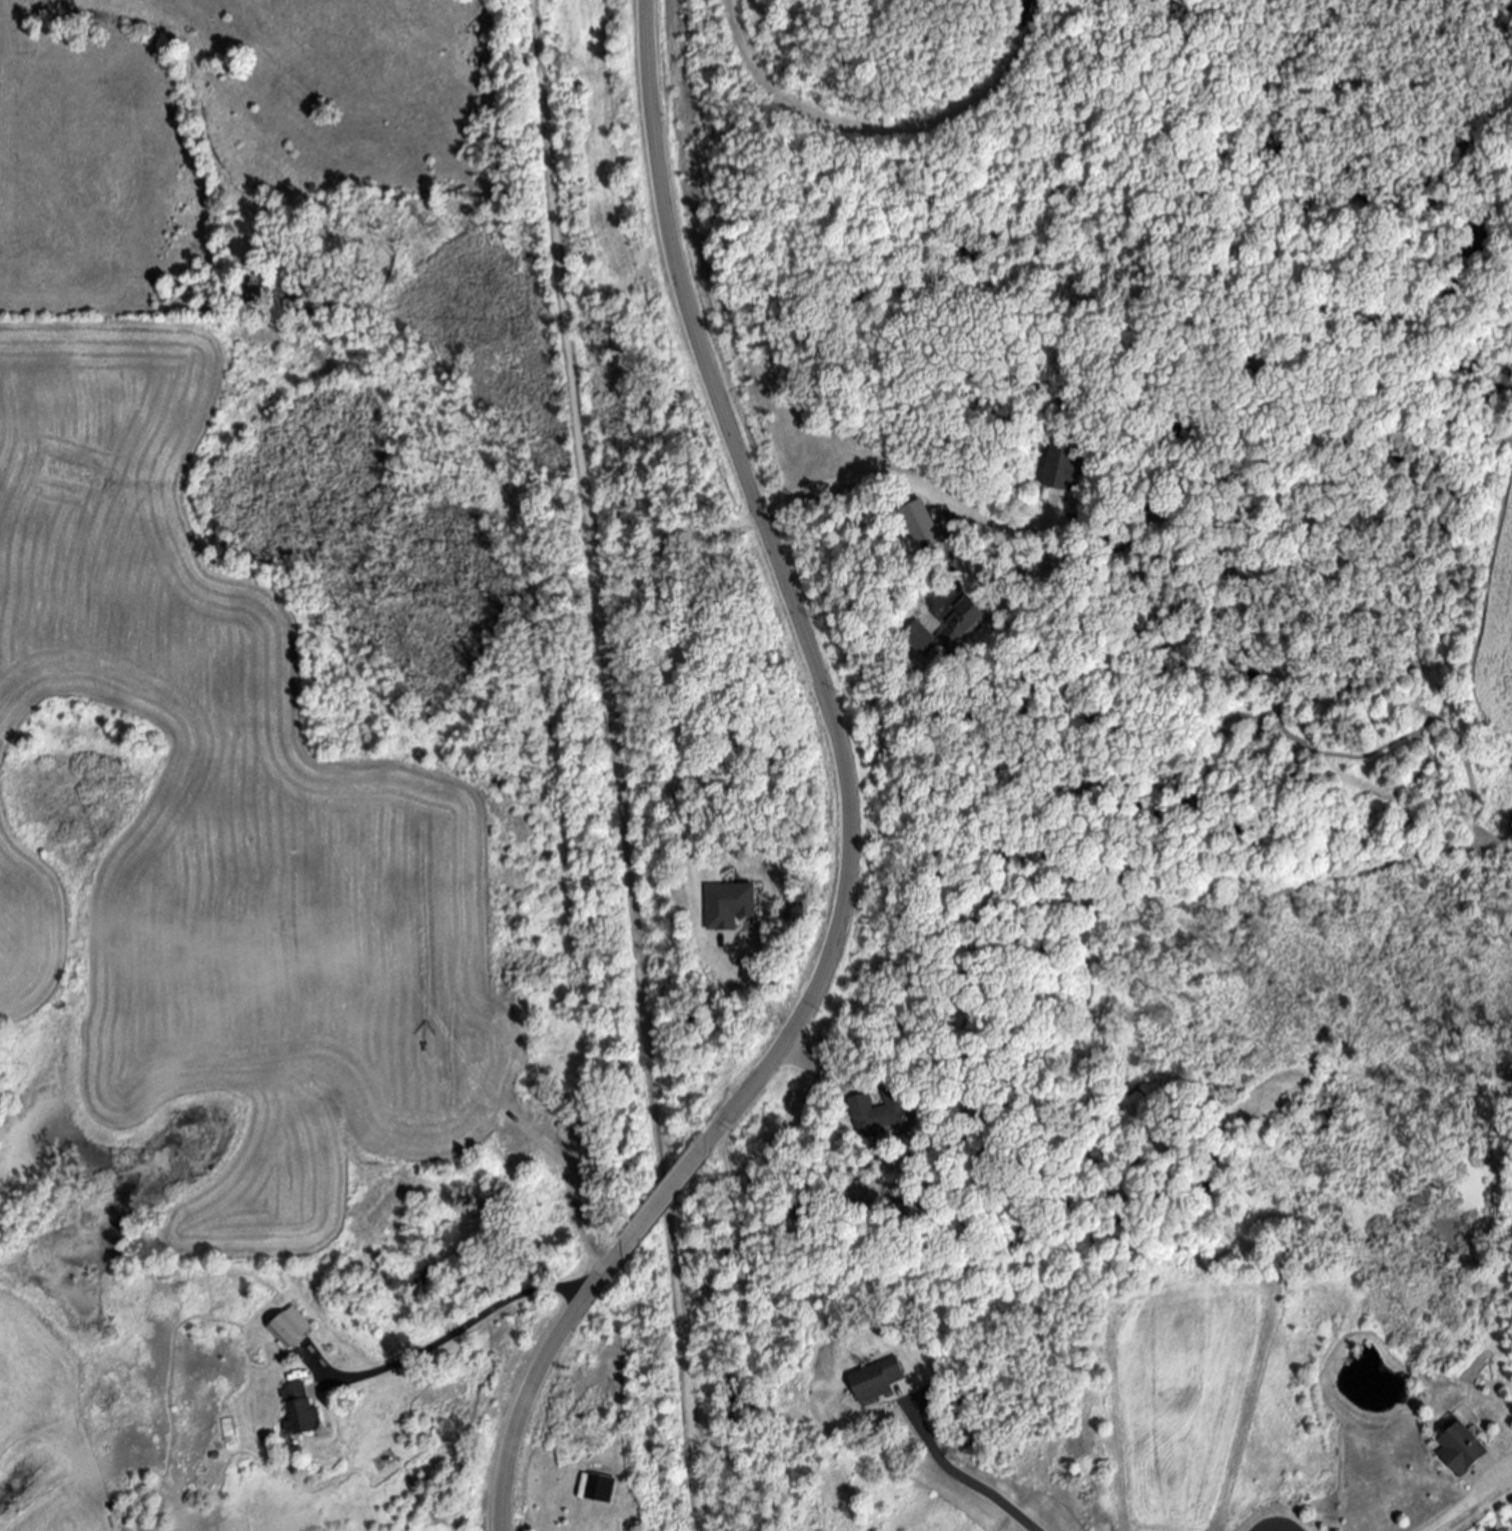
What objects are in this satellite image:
building: (1057, 467)
road: (887, 478)
building: (924, 521)
road: (776, 566)
building: (951, 628)
road: (612, 765)
building: (732, 905)
road: (820, 1068)
building: (886, 1113)
road: (669, 1192)
building: (801, 1211)
building: (290, 1329)
road: (464, 1329)
building: (877, 1381)
road: (525, 1393)
building: (300, 1411)
building: (1462, 1450)
road: (964, 1478)
building: (601, 1487)
road: (1459, 1504)

